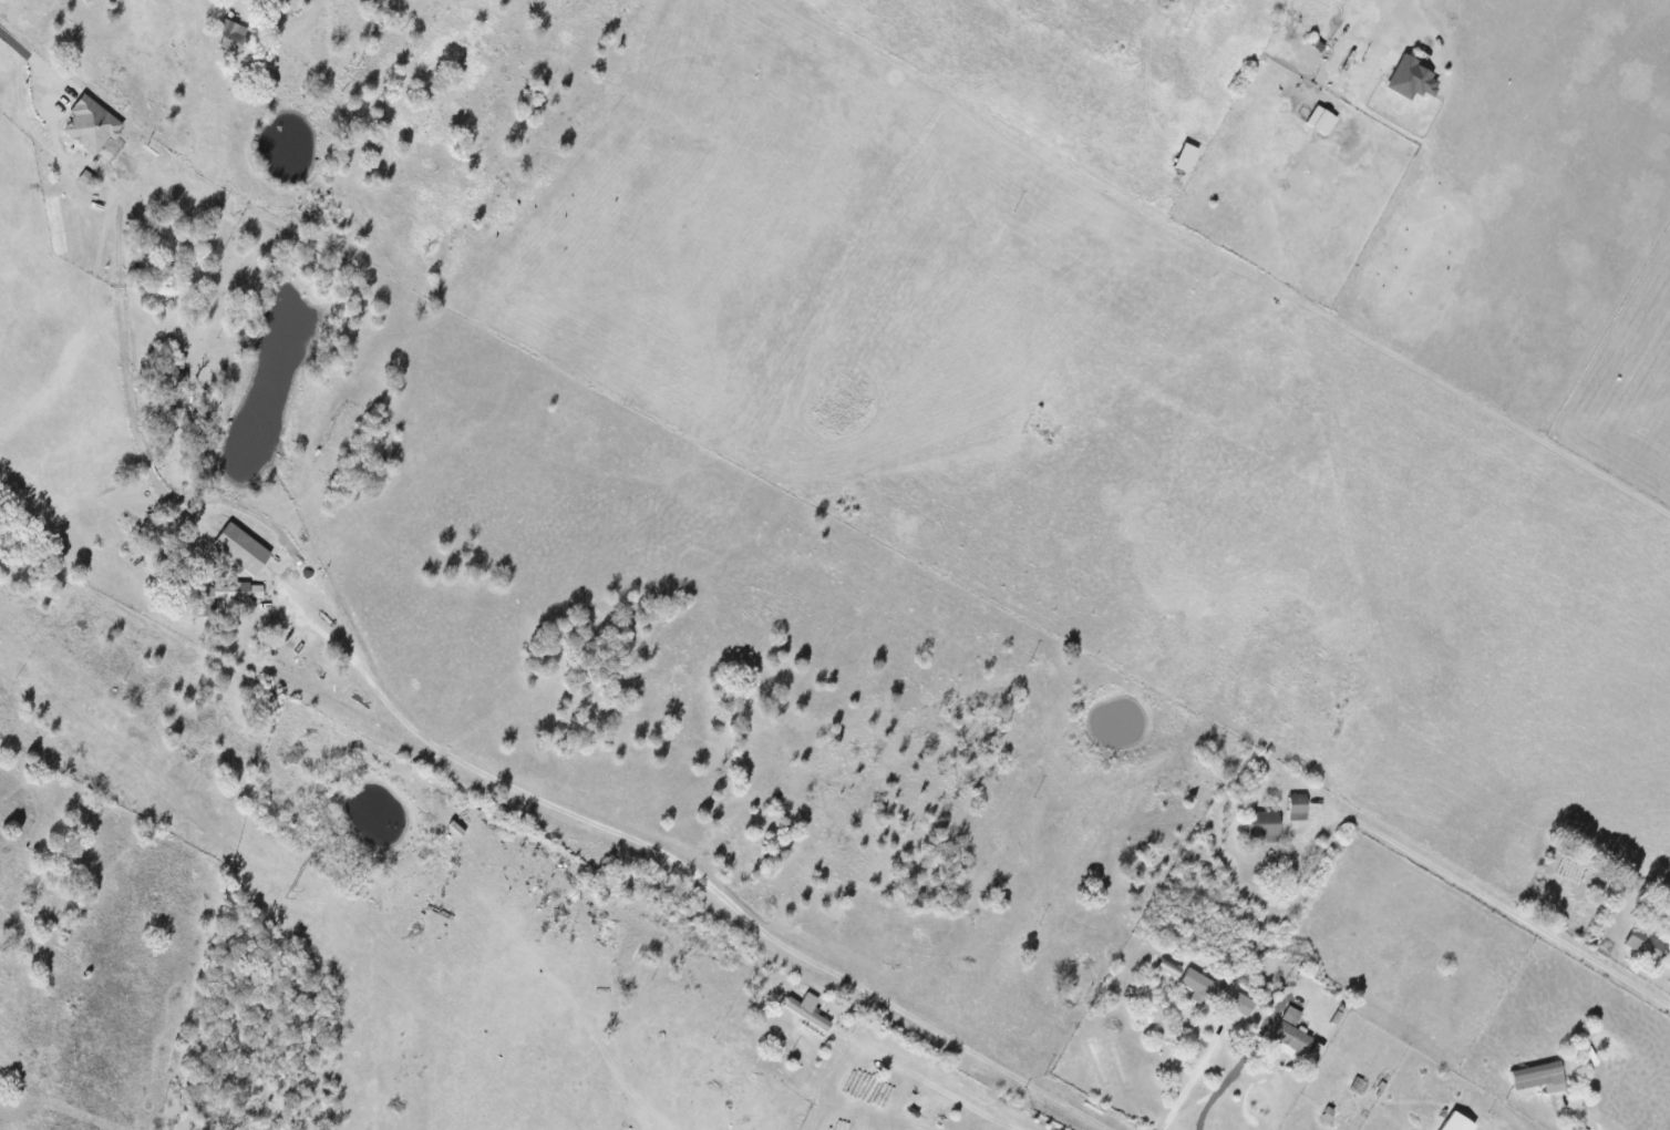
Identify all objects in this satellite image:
road: (182, 13)
road: (1410, 14)
building: (233, 35)
road: (28, 66)
building: (1411, 78)
building: (1321, 120)
building: (92, 125)
building: (1186, 157)
building: (241, 548)
road: (284, 577)
building: (234, 590)
building: (1298, 803)
building: (1265, 823)
power tower: (290, 895)
road: (725, 900)
road: (1496, 901)
building: (1645, 944)
building: (1204, 986)
building: (1241, 1004)
building: (808, 1010)
building: (1291, 1033)
building: (1315, 1052)
road: (907, 1055)
road: (1196, 1072)
building: (1539, 1077)
road: (1227, 1079)
road: (1205, 1109)
road: (1581, 1116)
building: (1457, 1122)

